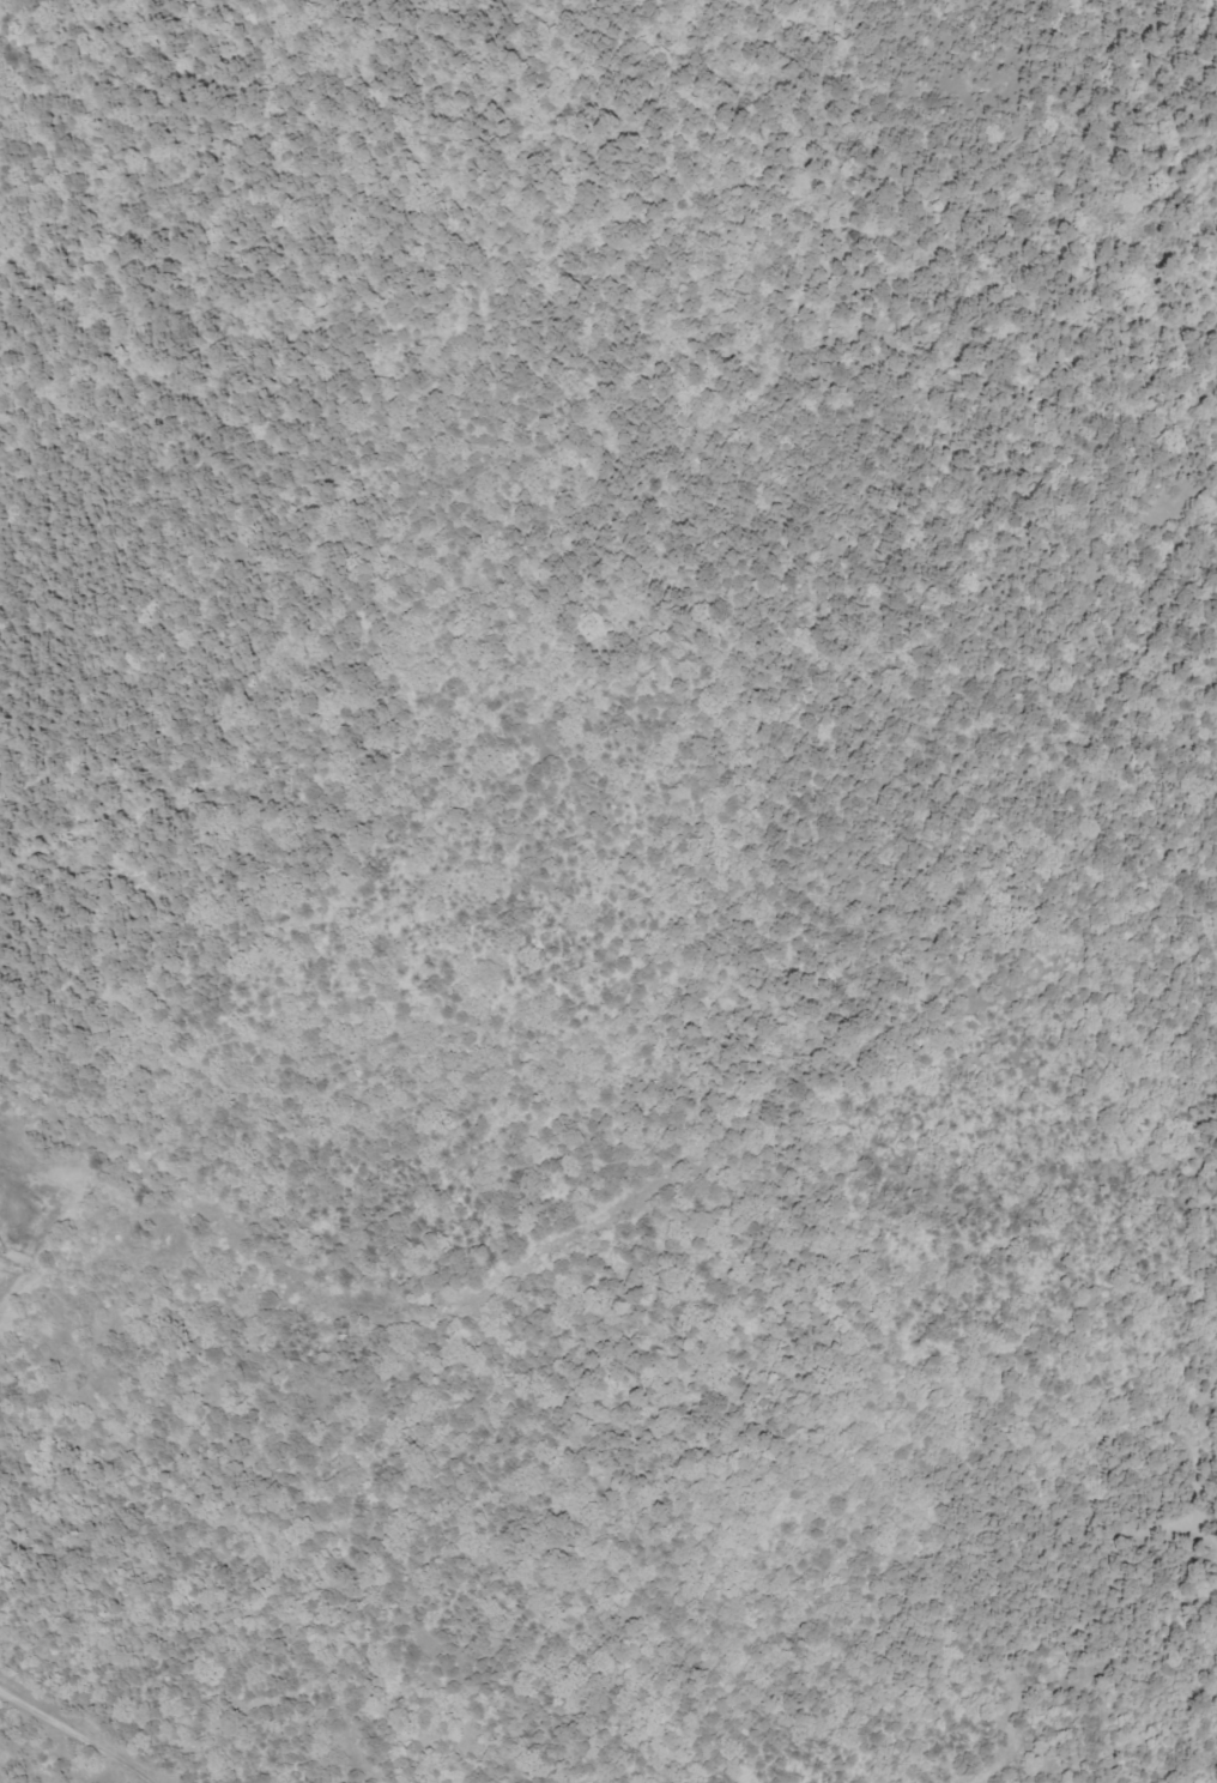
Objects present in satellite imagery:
road: (483, 640)
road: (83, 1727)
road: (22, 1764)

